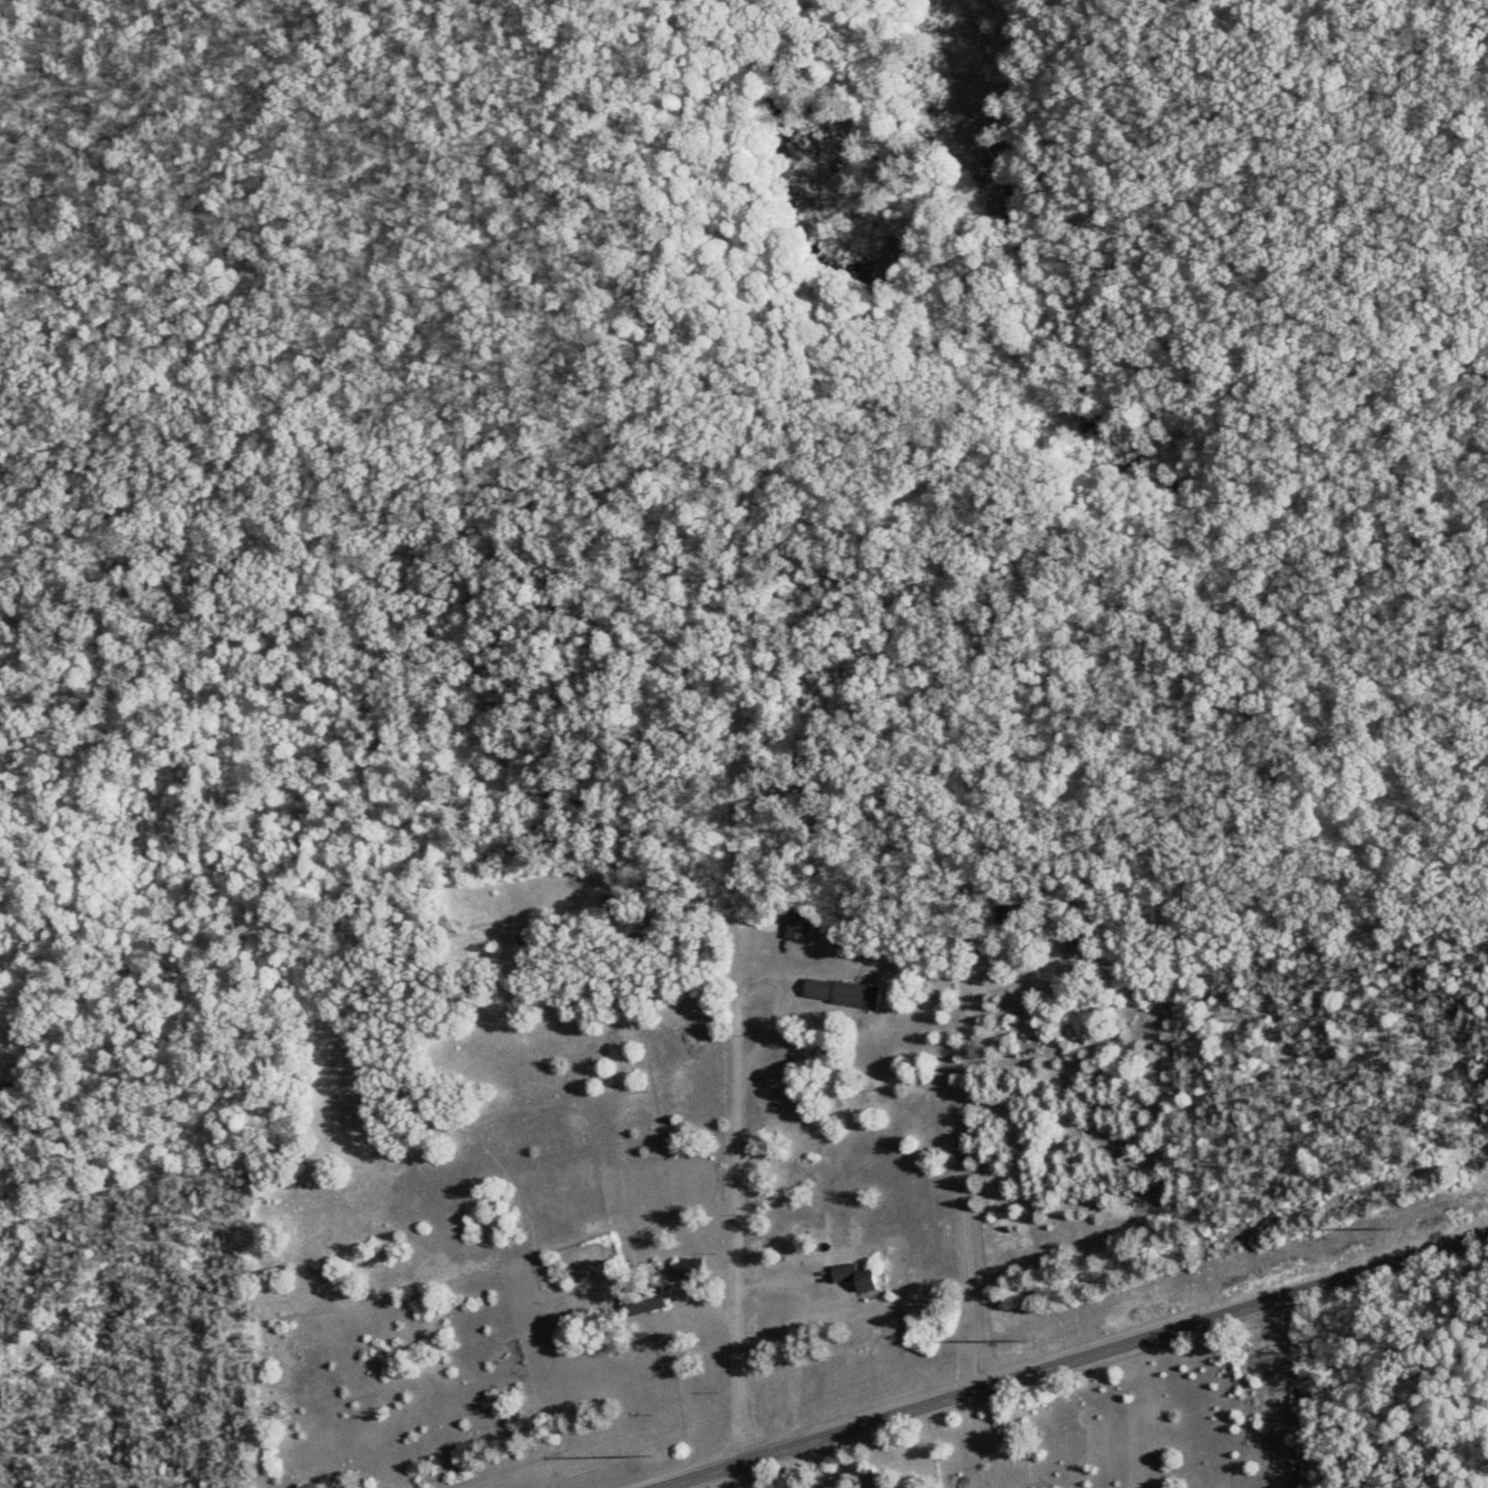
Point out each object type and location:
building: (1005, 903)
building: (797, 925)
building: (1074, 943)
road: (769, 970)
building: (840, 993)
road: (966, 1173)
power tower: (1391, 1227)
road: (736, 1266)
building: (688, 1269)
building: (853, 1277)
building: (645, 1300)
power tower: (1026, 1341)
road: (1064, 1357)
road: (1280, 1390)
power tower: (650, 1458)
building: (873, 1482)

